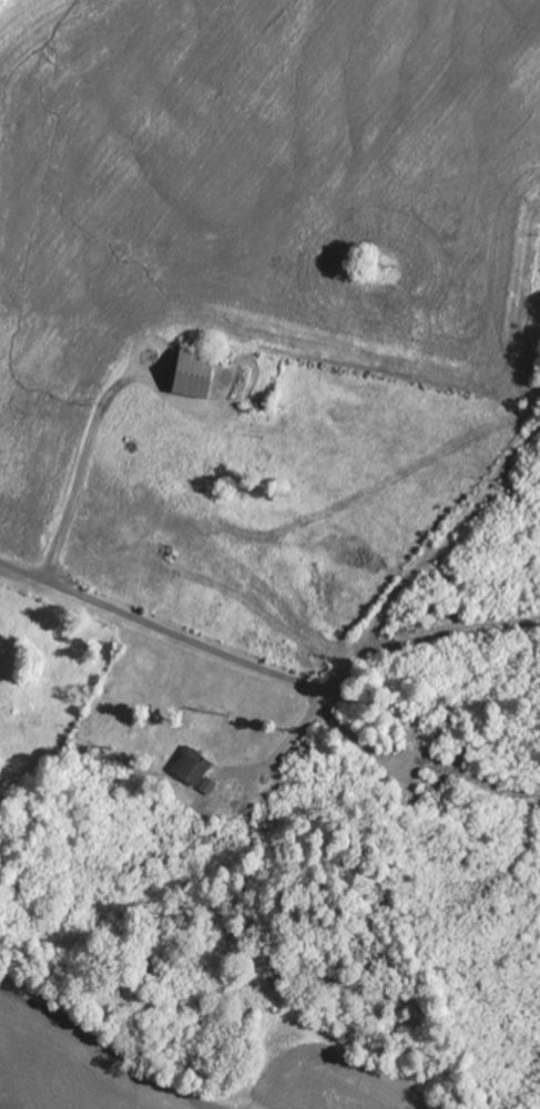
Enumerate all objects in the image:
building: (193, 373)
road: (175, 635)
building: (193, 766)
building: (210, 785)

